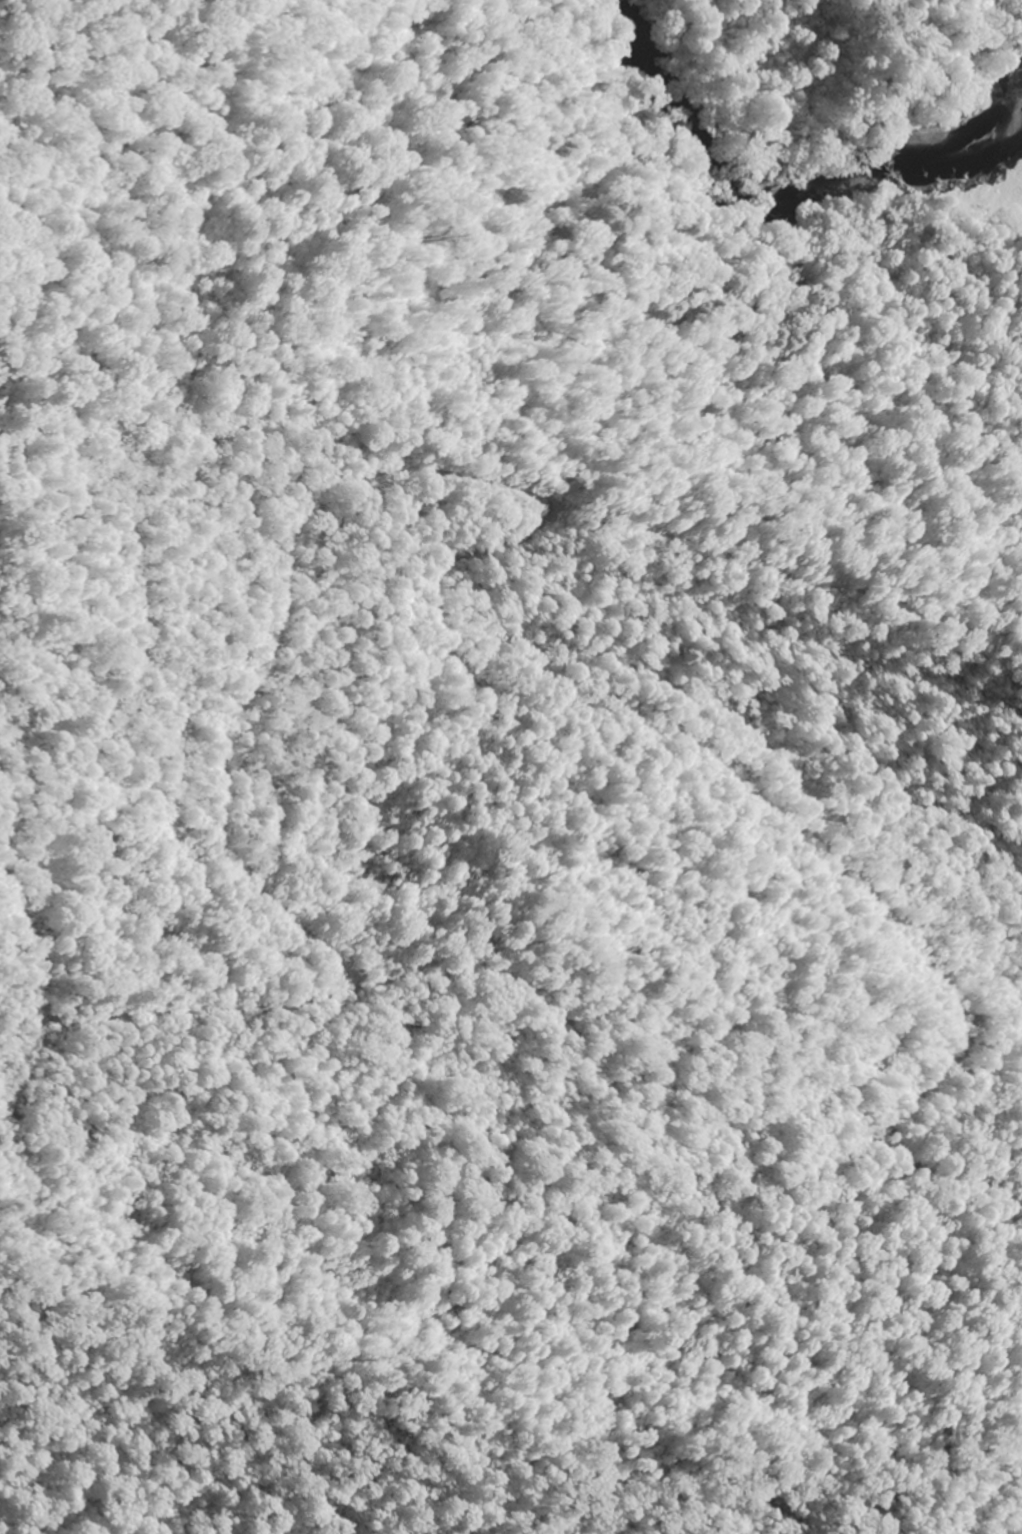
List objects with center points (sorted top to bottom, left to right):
river: (782, 169)

